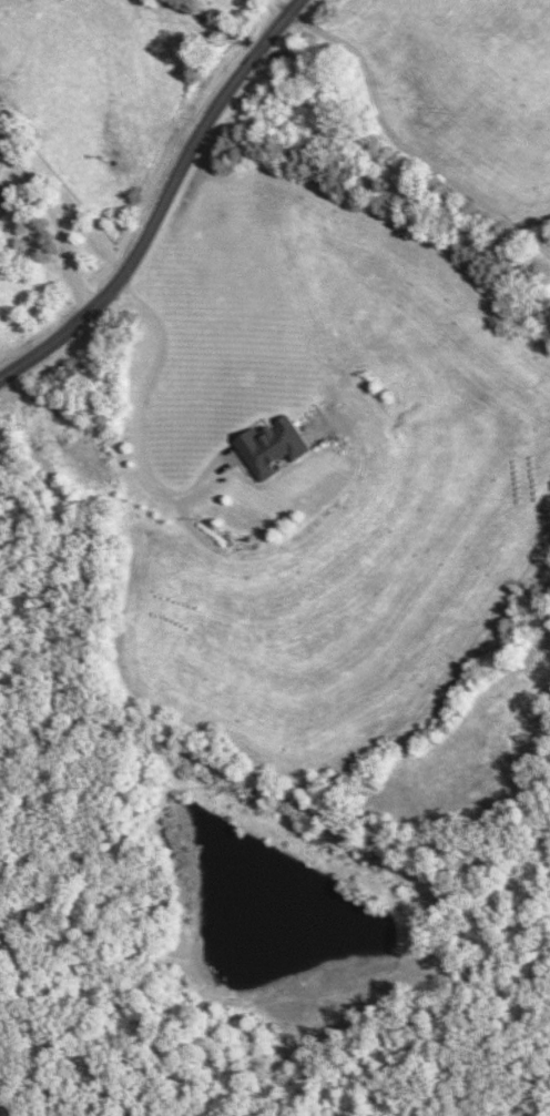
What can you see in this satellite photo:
building: (3, 196)
road: (160, 201)
road: (50, 230)
road: (129, 426)
building: (269, 446)

